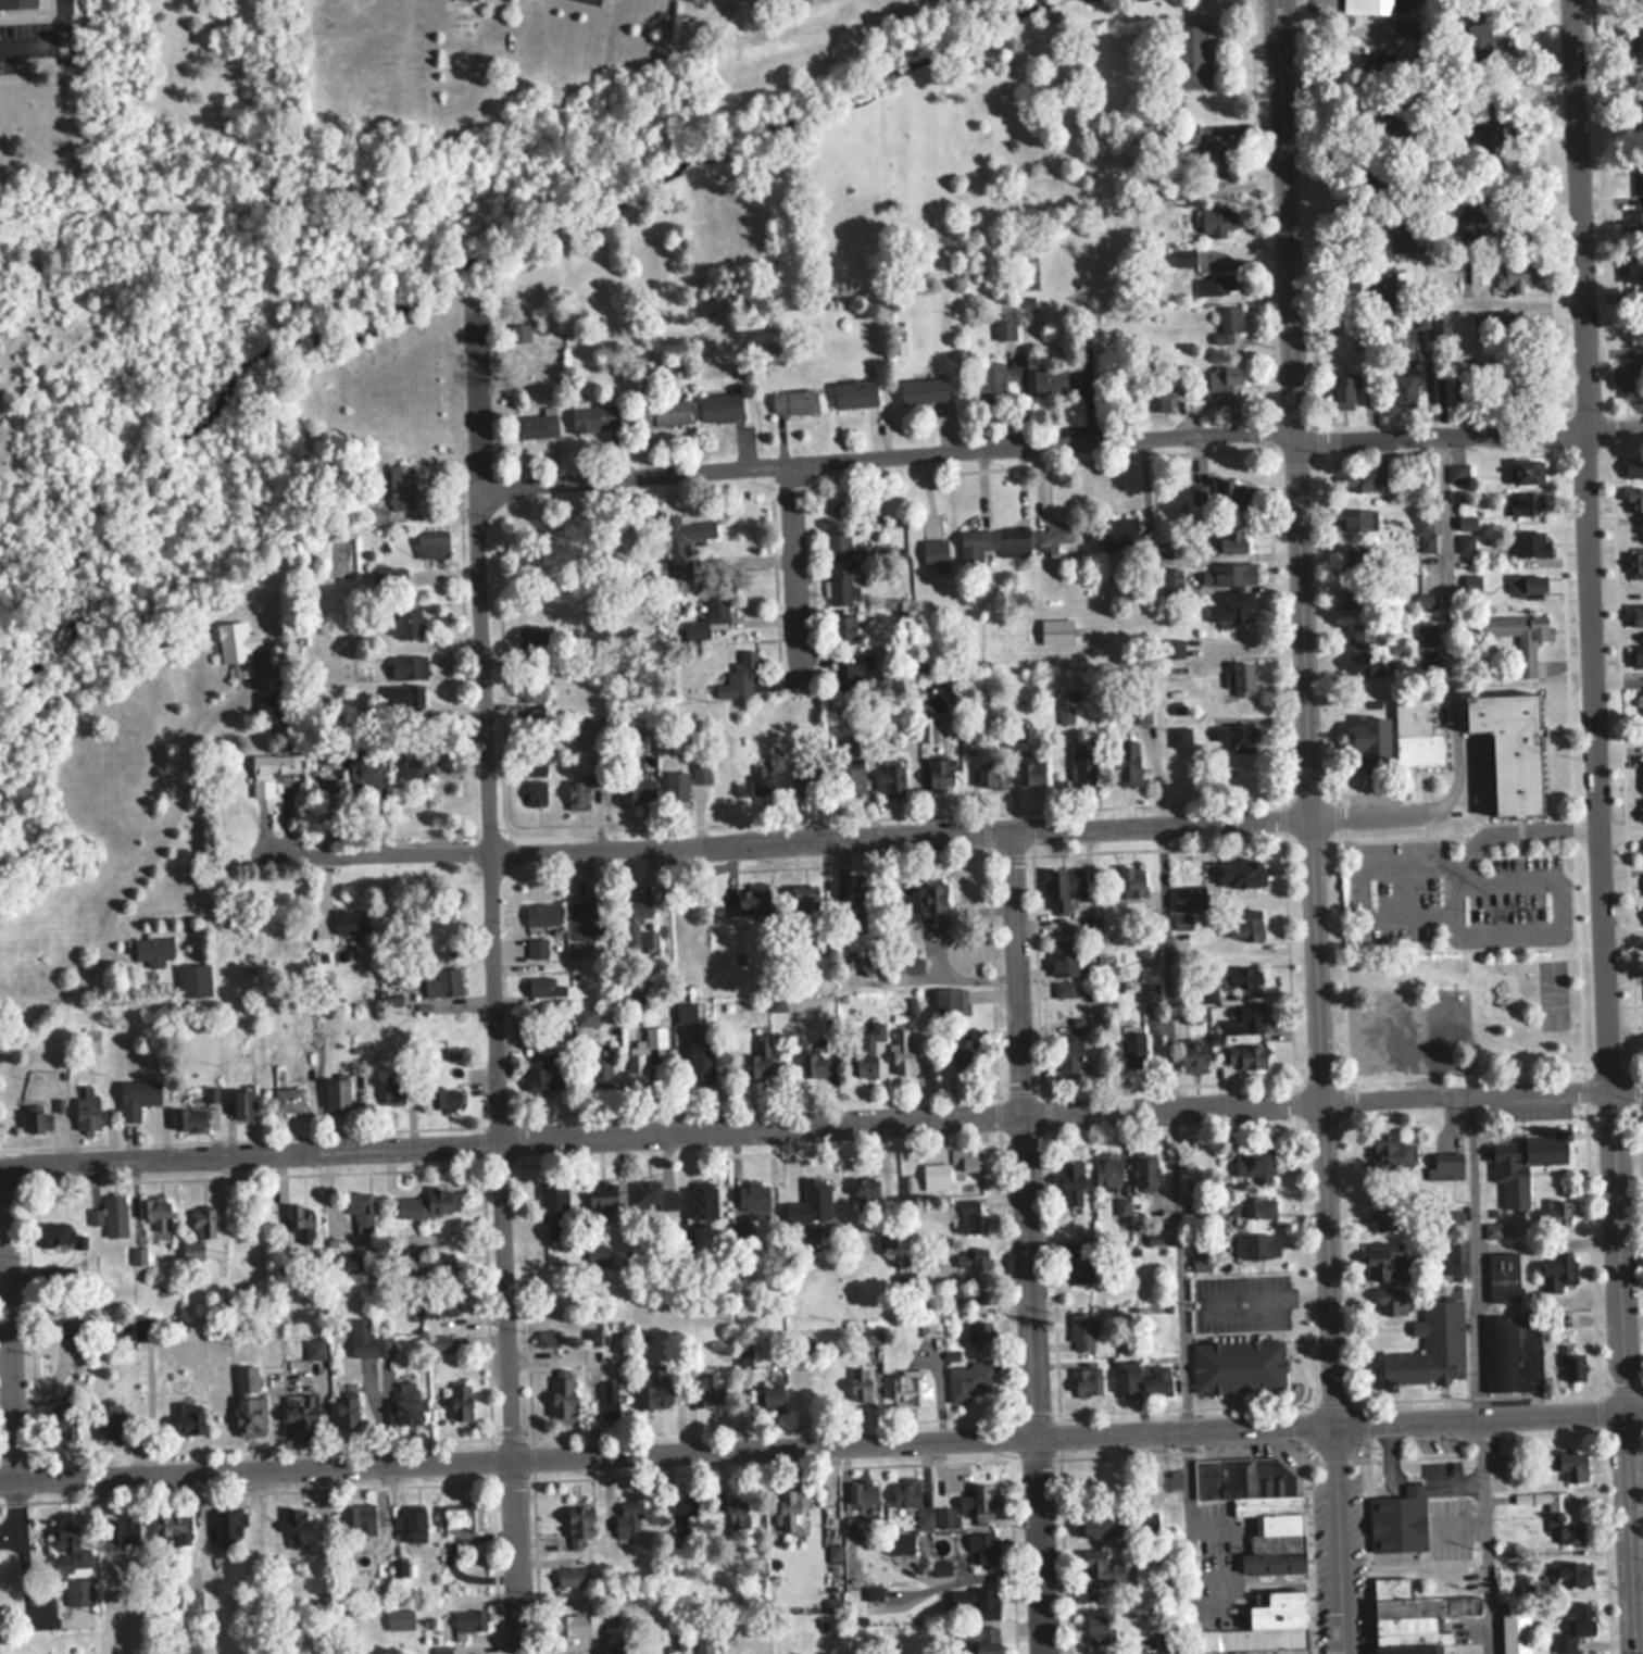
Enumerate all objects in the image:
building: (476, 0)
building: (17, 3)
building: (1366, 5)
building: (1479, 30)
road: (45, 36)
building: (1642, 40)
building: (1192, 55)
building: (1640, 112)
building: (1213, 153)
building: (1638, 177)
building: (1171, 193)
building: (1477, 221)
building: (1217, 222)
building: (1634, 225)
building: (1399, 234)
building: (1184, 259)
building: (1633, 267)
building: (1478, 274)
building: (1216, 284)
building: (1382, 285)
building: (1228, 327)
building: (1004, 329)
building: (774, 351)
building: (1629, 377)
building: (991, 380)
building: (1225, 380)
building: (1049, 381)
building: (1405, 389)
building: (923, 390)
building: (1462, 391)
building: (855, 393)
building: (1342, 394)
building: (1157, 397)
building: (793, 402)
building: (720, 408)
building: (663, 412)
building: (597, 417)
building: (535, 425)
road: (1470, 429)
road: (889, 455)
building: (1633, 466)
building: (1527, 471)
building: (1456, 473)
building: (1369, 479)
building: (401, 486)
building: (1219, 494)
building: (1634, 500)
building: (1526, 503)
building: (1359, 519)
building: (683, 534)
building: (1114, 534)
building: (1421, 534)
building: (1053, 538)
building: (1230, 539)
building: (1013, 540)
building: (975, 541)
building: (1532, 543)
building: (431, 544)
building: (837, 544)
building: (935, 552)
building: (1362, 554)
building: (1634, 562)
road: (801, 574)
building: (1231, 575)
building: (1470, 582)
building: (1527, 584)
building: (839, 585)
building: (1352, 594)
building: (1426, 599)
building: (715, 600)
building: (1229, 612)
building: (1636, 615)
building: (406, 623)
road: (1459, 624)
building: (843, 626)
building: (570, 630)
building: (1055, 630)
building: (1360, 635)
building: (1520, 635)
building: (1426, 637)
building: (531, 640)
building: (237, 646)
building: (1172, 649)
building: (1638, 657)
building: (1369, 665)
building: (409, 667)
building: (854, 671)
building: (740, 676)
building: (1242, 679)
building: (530, 694)
building: (407, 701)
building: (1640, 703)
building: (272, 706)
building: (1140, 714)
building: (1417, 732)
building: (1234, 736)
building: (1180, 737)
building: (1374, 742)
building: (1510, 750)
building: (1130, 754)
building: (417, 763)
building: (1084, 763)
building: (536, 766)
building: (1030, 767)
building: (272, 772)
building: (940, 775)
building: (993, 776)
building: (760, 779)
building: (801, 780)
building: (852, 781)
building: (890, 781)
building: (683, 782)
building: (638, 790)
building: (536, 792)
building: (578, 794)
building: (1642, 811)
road: (1374, 815)
road: (1307, 826)
road: (1601, 826)
road: (805, 840)
building: (1240, 874)
road: (133, 884)
building: (1132, 886)
building: (1064, 888)
building: (751, 899)
building: (805, 900)
building: (932, 900)
building: (863, 903)
building: (639, 910)
building: (541, 914)
building: (589, 917)
building: (1247, 920)
building: (351, 922)
building: (912, 932)
building: (537, 949)
building: (153, 950)
building: (1064, 958)
building: (870, 964)
building: (912, 964)
road: (493, 977)
building: (1243, 977)
building: (195, 979)
building: (443, 983)
building: (544, 988)
building: (1064, 989)
building: (1147, 993)
building: (950, 1001)
building: (1417, 1005)
building: (686, 1013)
building: (1189, 1015)
building: (586, 1016)
building: (1244, 1020)
building: (1402, 1035)
building: (91, 1038)
building: (654, 1039)
building: (1132, 1049)
building: (865, 1052)
building: (902, 1052)
building: (1194, 1054)
building: (1068, 1055)
building: (964, 1056)
building: (1245, 1056)
building: (700, 1060)
building: (757, 1062)
building: (814, 1065)
building: (640, 1067)
building: (540, 1073)
building: (601, 1074)
road: (1480, 1091)
building: (392, 1094)
building: (337, 1095)
building: (137, 1097)
building: (444, 1099)
building: (288, 1100)
building: (243, 1105)
building: (87, 1110)
building: (188, 1119)
building: (39, 1120)
road: (660, 1131)
building: (1393, 1155)
building: (966, 1161)
building: (1254, 1161)
building: (1521, 1163)
building: (1446, 1166)
building: (1107, 1170)
building: (1145, 1174)
building: (1070, 1183)
building: (803, 1191)
building: (865, 1191)
building: (603, 1195)
building: (653, 1195)
building: (753, 1199)
building: (426, 1203)
building: (702, 1203)
building: (1252, 1207)
road: (228, 1208)
building: (361, 1210)
building: (156, 1212)
building: (1557, 1213)
building: (115, 1215)
building: (300, 1217)
building: (971, 1217)
building: (1387, 1218)
building: (204, 1223)
building: (1493, 1230)
building: (57, 1235)
road: (1027, 1242)
building: (1257, 1245)
building: (597, 1255)
building: (1457, 1257)
building: (976, 1258)
building: (351, 1262)
building: (1200, 1262)
building: (1384, 1262)
building: (438, 1267)
building: (1557, 1269)
building: (1080, 1270)
building: (1503, 1277)
building: (968, 1295)
building: (1392, 1302)
building: (438, 1304)
building: (142, 1327)
building: (67, 1328)
building: (1081, 1330)
building: (870, 1332)
building: (979, 1332)
building: (549, 1338)
building: (367, 1340)
building: (1432, 1344)
building: (314, 1350)
road: (7, 1351)
building: (1251, 1368)
building: (1575, 1369)
building: (1533, 1378)
building: (1127, 1379)
building: (968, 1380)
building: (1156, 1380)
building: (1086, 1382)
building: (861, 1386)
building: (653, 1389)
building: (708, 1389)
building: (910, 1390)
building: (563, 1395)
building: (768, 1399)
building: (607, 1400)
building: (461, 1402)
building: (406, 1403)
building: (346, 1412)
building: (301, 1415)
road: (1488, 1415)
building: (250, 1416)
building: (187, 1418)
building: (64, 1421)
building: (108, 1421)
road: (667, 1452)
building: (1568, 1464)
building: (862, 1491)
building: (906, 1491)
building: (978, 1500)
building: (1553, 1500)
building: (1257, 1507)
building: (790, 1508)
building: (737, 1509)
building: (361, 1516)
building: (683, 1516)
building: (944, 1516)
building: (462, 1518)
building: (924, 1518)
building: (628, 1519)
building: (1399, 1519)
building: (1101, 1523)
building: (415, 1524)
building: (579, 1524)
building: (297, 1525)
building: (174, 1528)
building: (230, 1528)
building: (123, 1529)
building: (1570, 1529)
building: (900, 1542)
building: (982, 1545)
building: (72, 1566)
building: (1096, 1566)
road: (30, 1567)
road: (1638, 1569)
building: (1570, 1571)
building: (569, 1576)
building: (378, 1583)
building: (1502, 1594)
building: (192, 1600)
building: (974, 1602)
building: (1413, 1617)
building: (471, 1618)
building: (1572, 1622)
building: (578, 1624)
building: (1095, 1626)
building: (1265, 1627)
building: (1515, 1632)
building: (984, 1639)
building: (703, 1644)
building: (1163, 1652)

